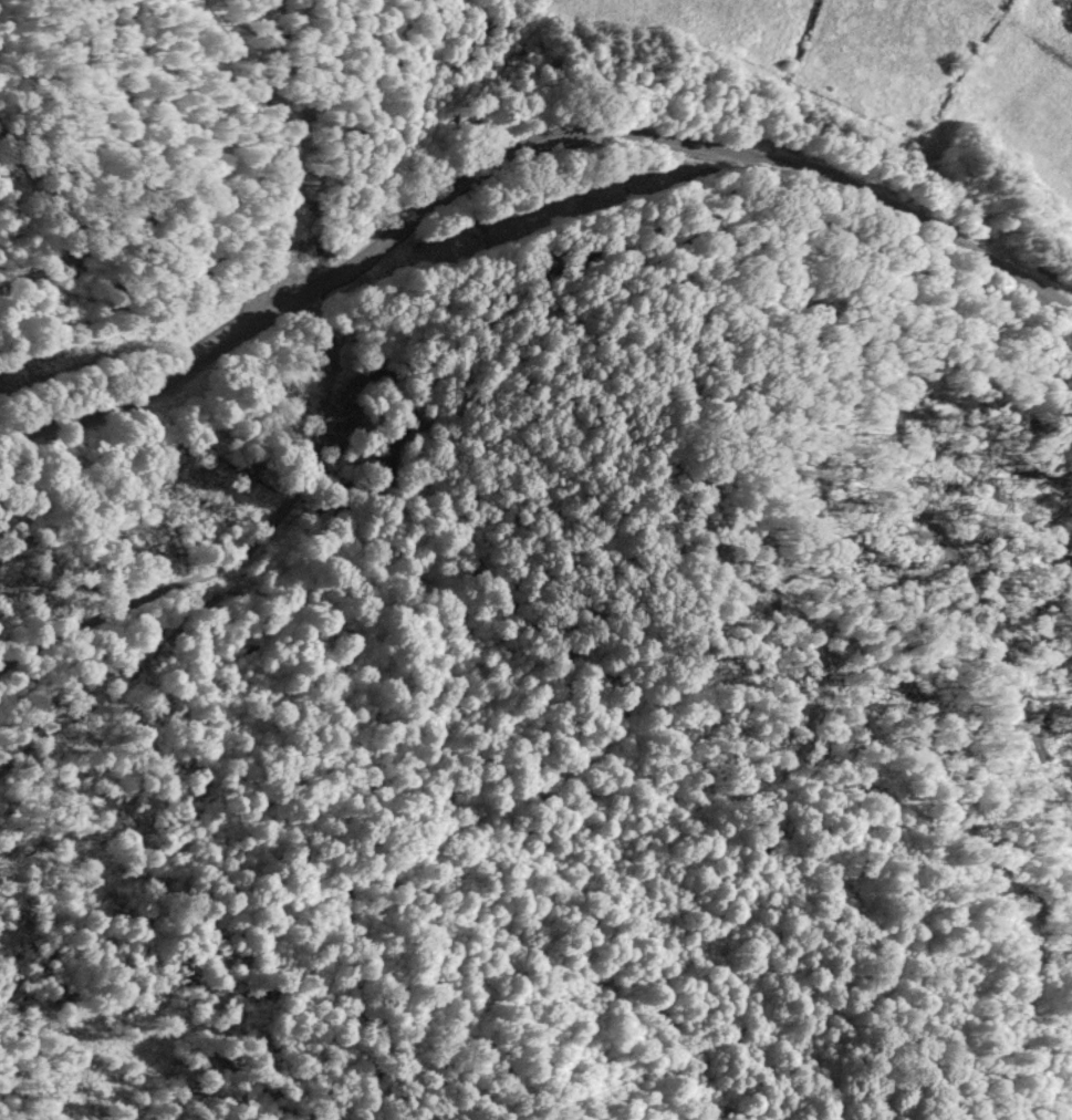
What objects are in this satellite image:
road: (621, 132)
railway: (738, 139)
railway: (725, 255)
road: (103, 407)
railway: (227, 431)
railway: (218, 591)

